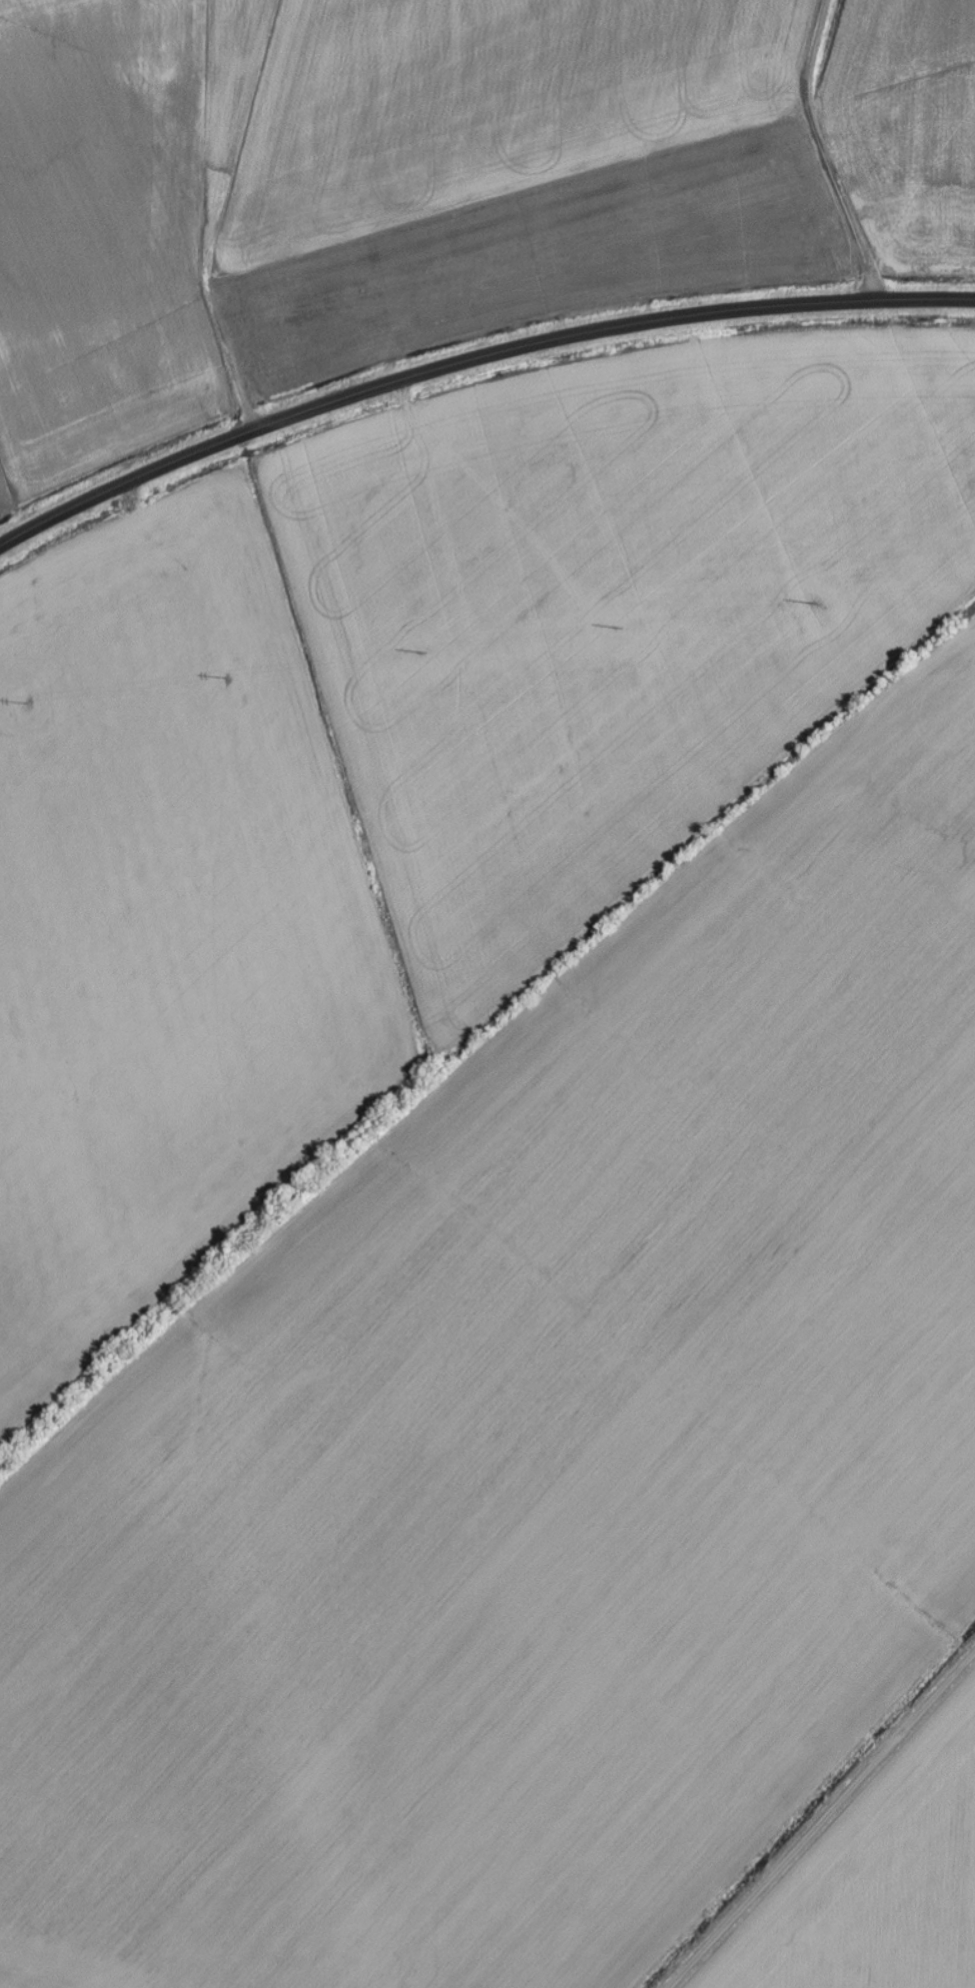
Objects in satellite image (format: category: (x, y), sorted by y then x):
road: (865, 150)
road: (471, 363)
road: (823, 1820)
crop: (878, 1878)

